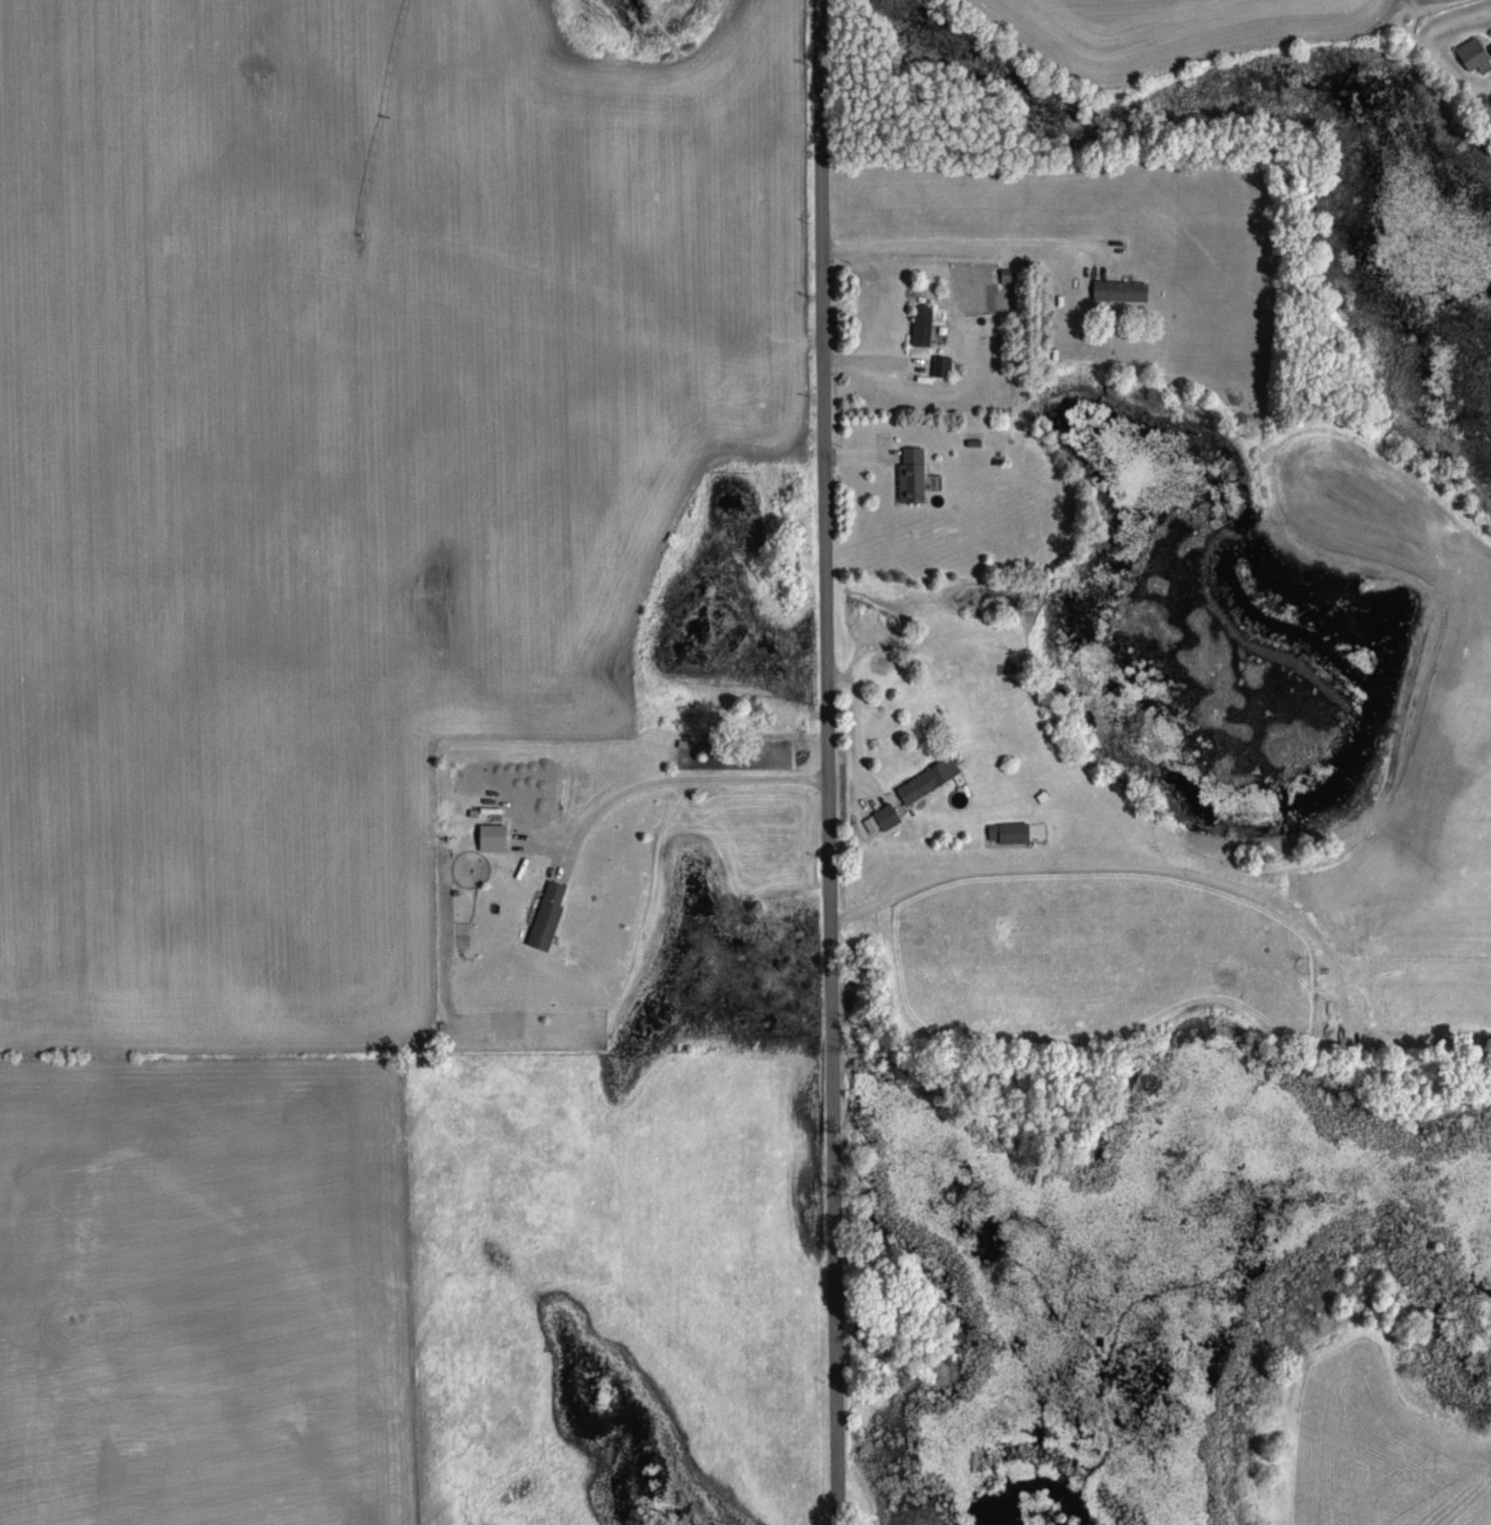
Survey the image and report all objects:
building: (1490, 47)
building: (1472, 53)
building: (1117, 245)
building: (1120, 291)
building: (922, 325)
building: (941, 367)
building: (910, 475)
road: (823, 762)
building: (927, 781)
building: (886, 817)
building: (1009, 833)
building: (547, 916)
building: (1319, 1487)

